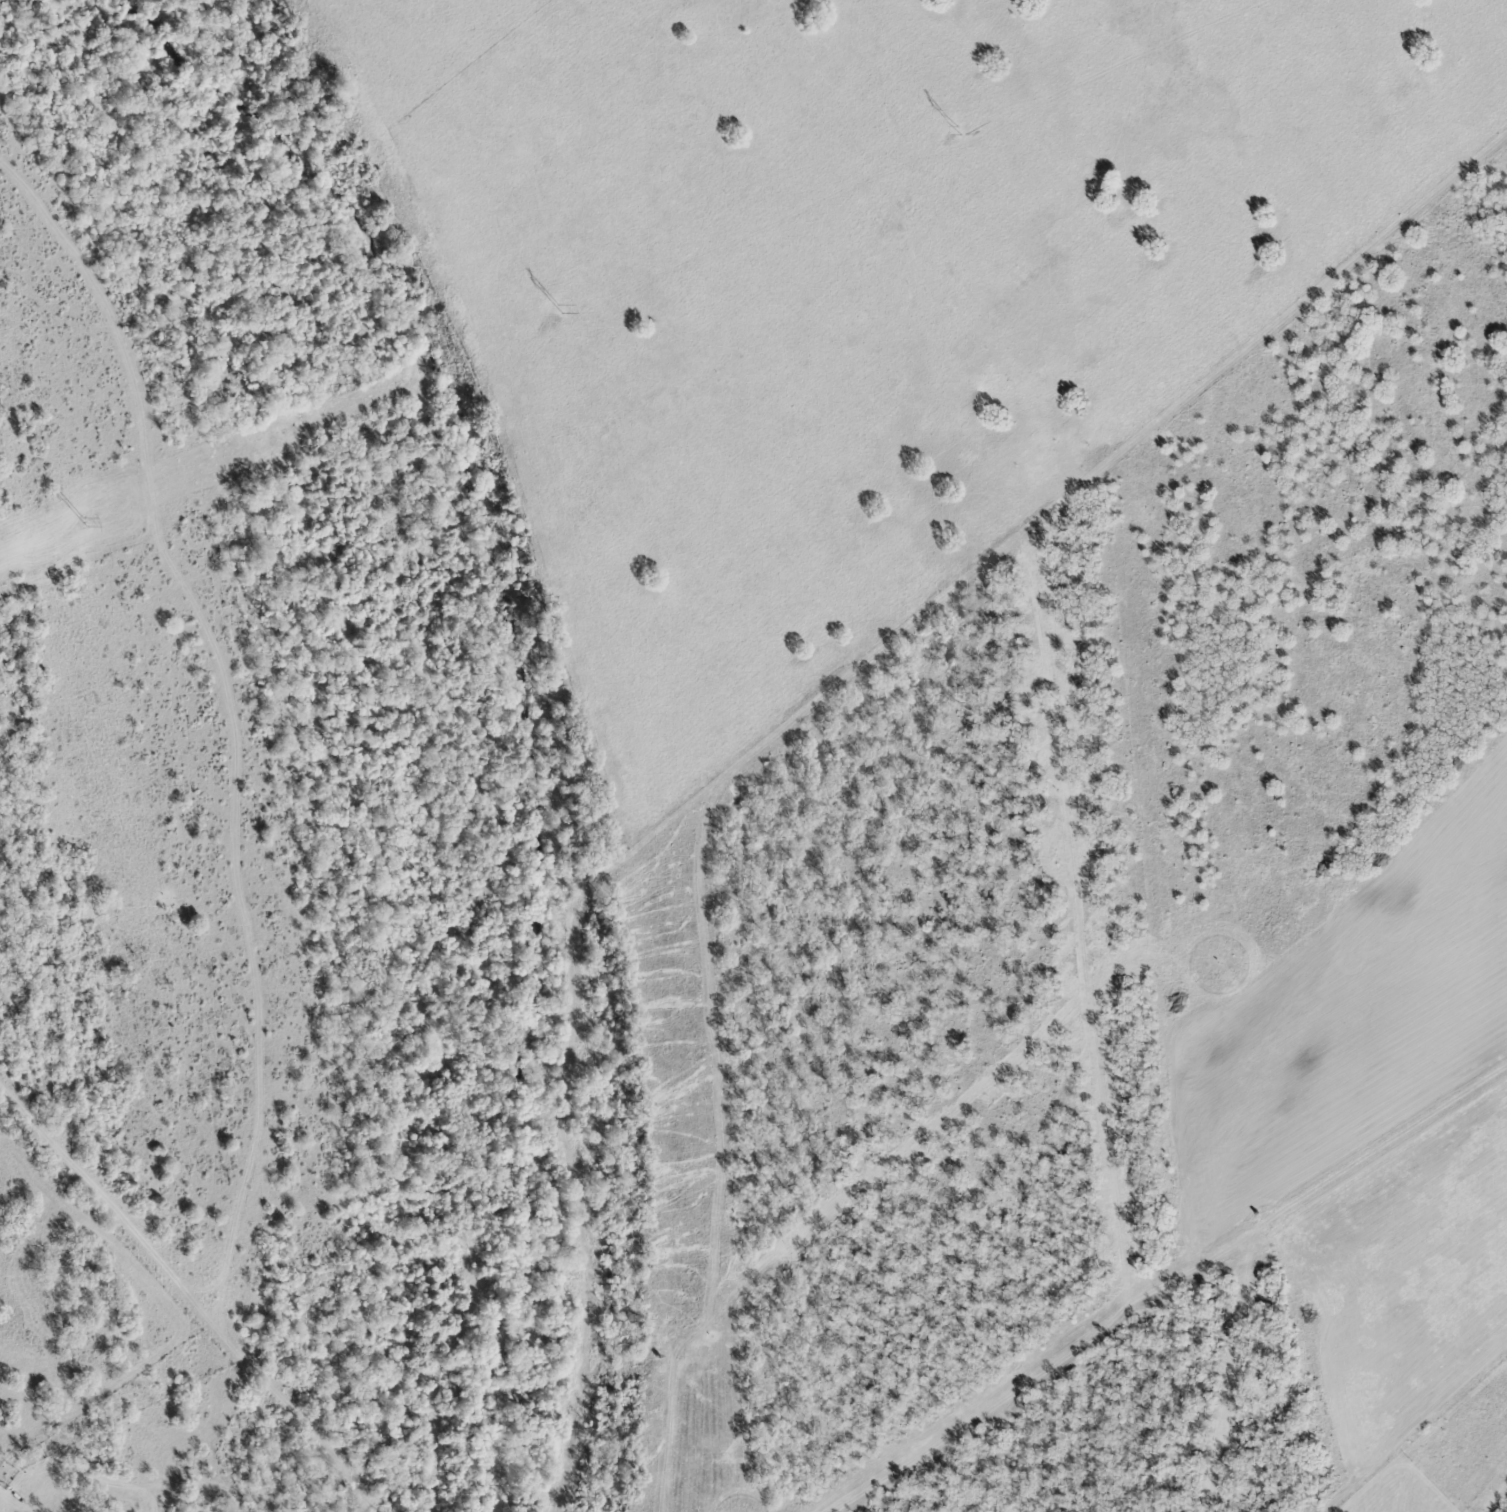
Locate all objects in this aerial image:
power tower: (956, 130)
power tower: (559, 308)
power tower: (84, 522)
river: (513, 692)

